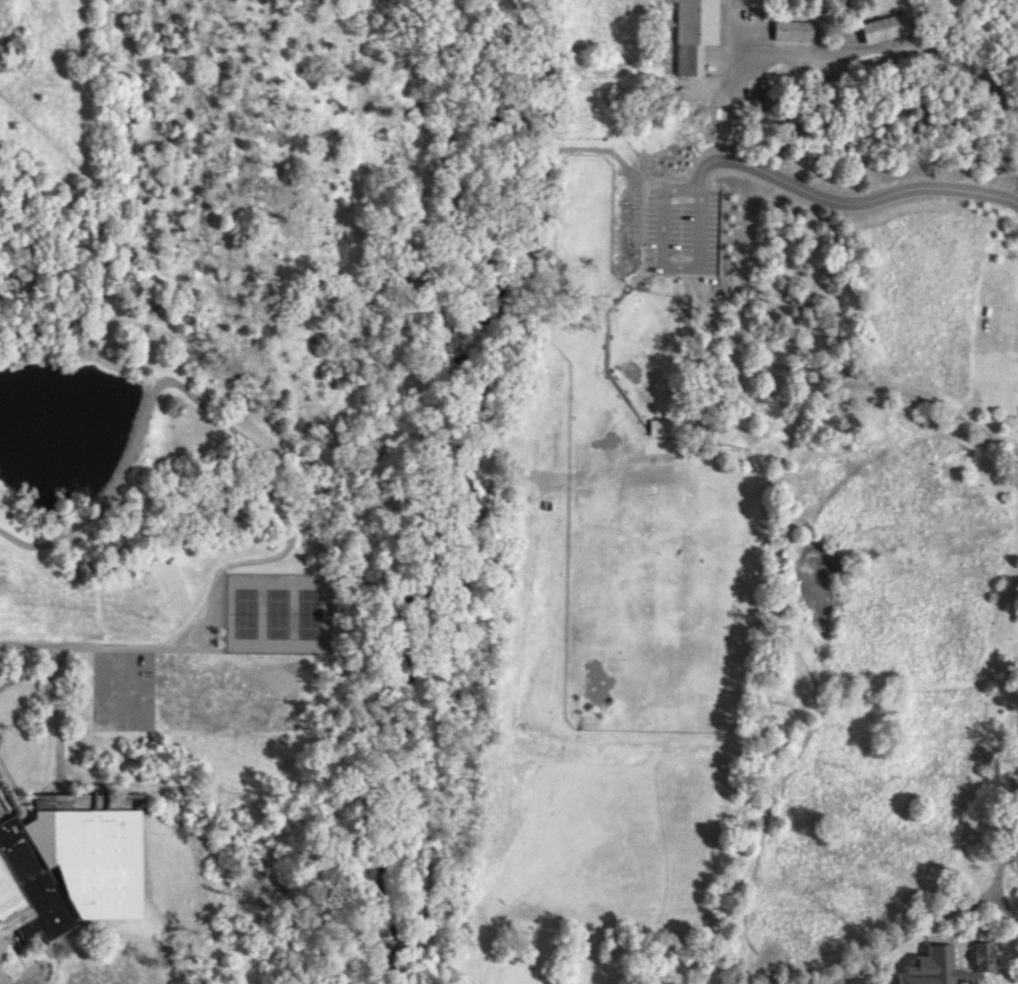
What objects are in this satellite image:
building: (886, 23)
building: (794, 28)
building: (693, 33)
road: (866, 46)
road: (723, 104)
road: (492, 159)
road: (845, 203)
road: (354, 233)
road: (539, 237)
road: (211, 255)
road: (652, 383)
road: (208, 410)
building: (661, 425)
park: (509, 492)
road: (204, 617)
park: (233, 665)
road: (438, 702)
road: (59, 728)
building: (68, 863)
road: (966, 904)
road: (1003, 904)
road: (179, 935)
road: (360, 948)
road: (443, 959)
building: (945, 964)

